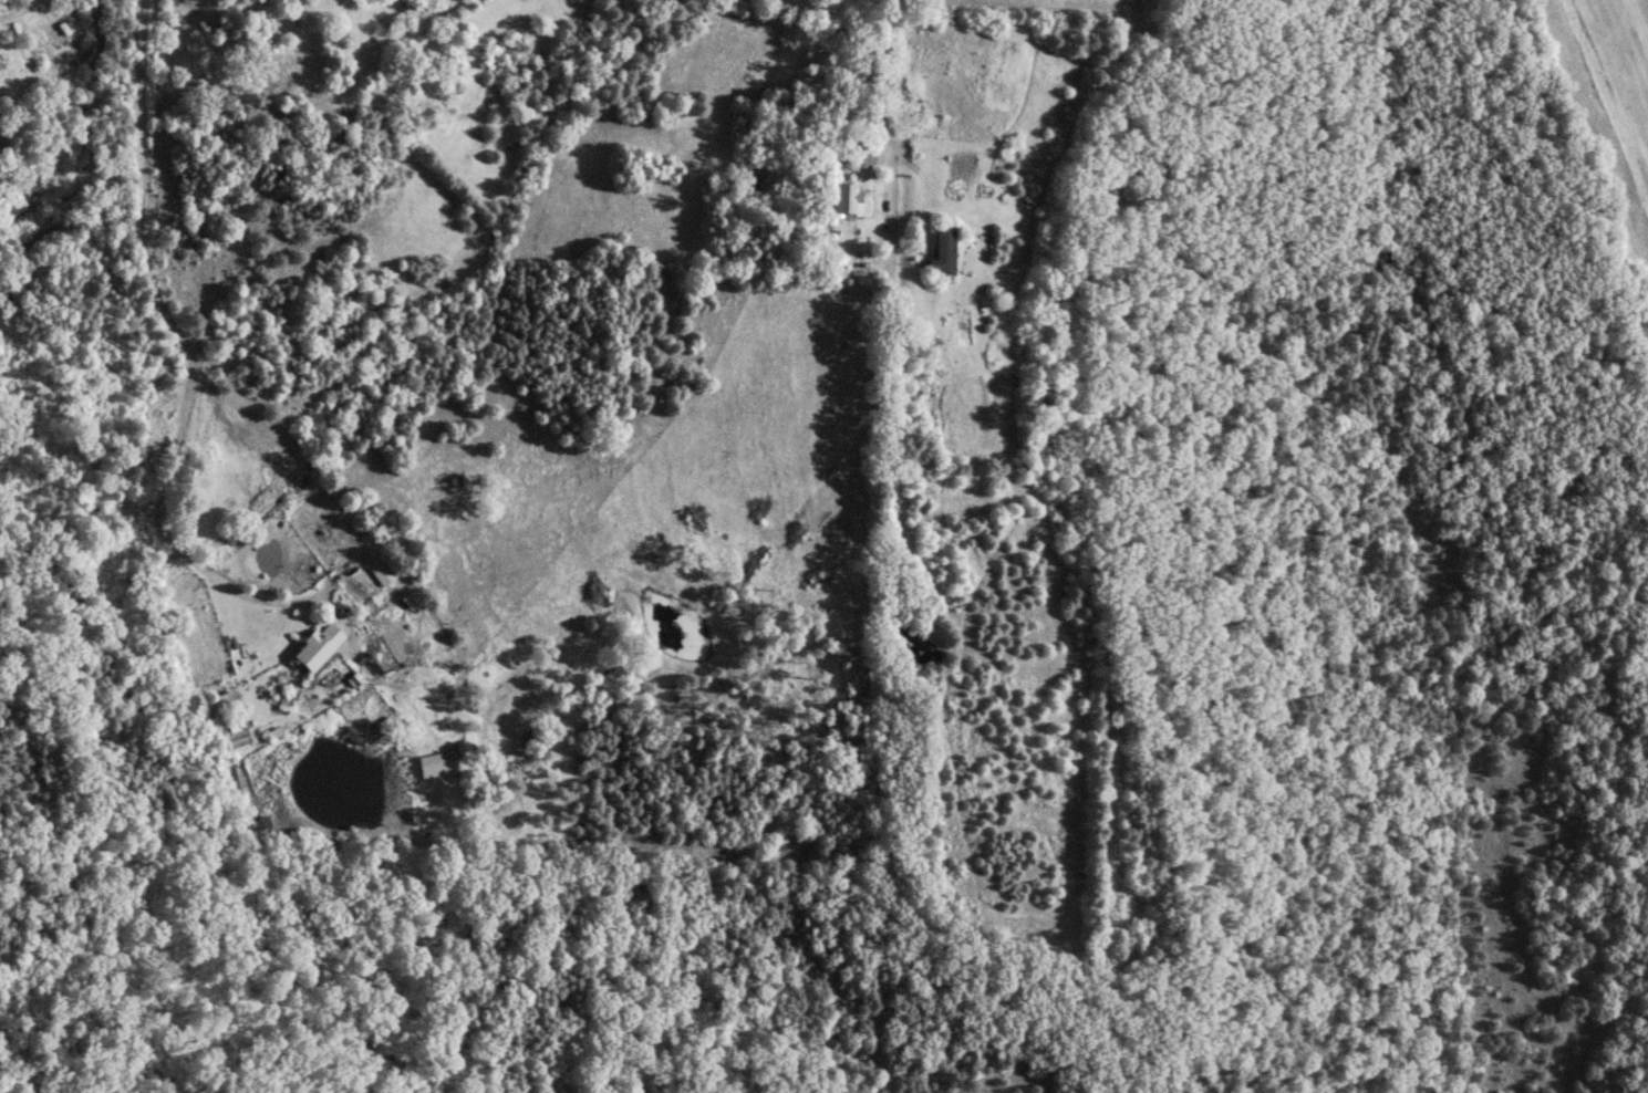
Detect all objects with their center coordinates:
road: (19, 9)
building: (412, 11)
road: (881, 131)
building: (861, 156)
building: (844, 198)
building: (942, 257)
road: (189, 384)
building: (315, 645)
building: (227, 779)

